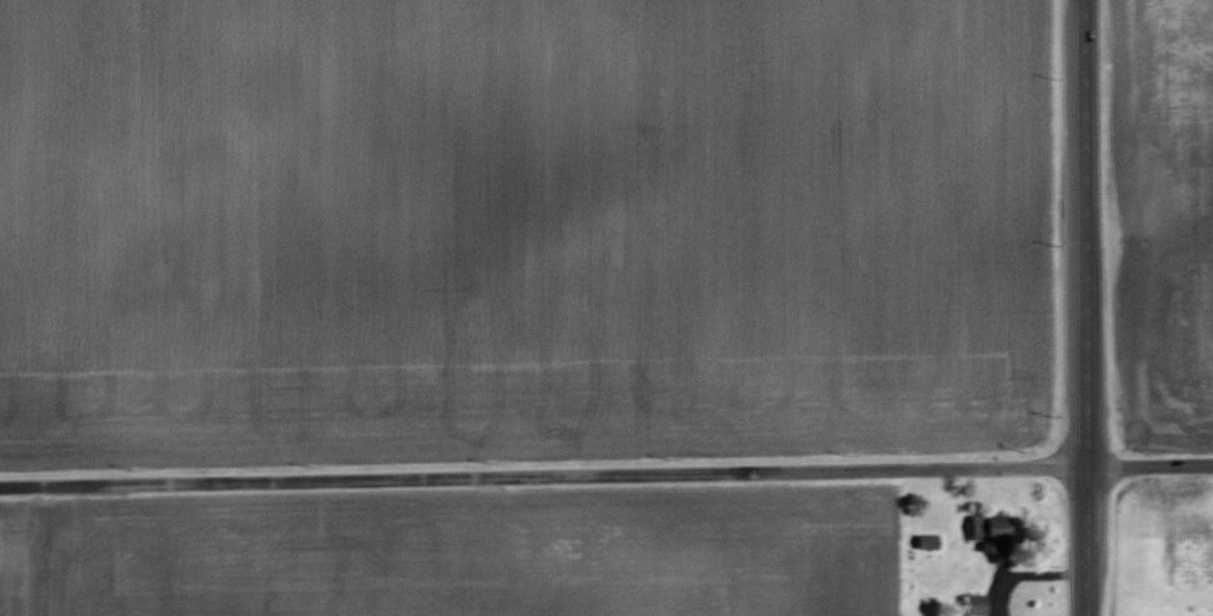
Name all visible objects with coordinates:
road: (1088, 307)
road: (606, 483)
building: (988, 530)
building: (974, 604)

